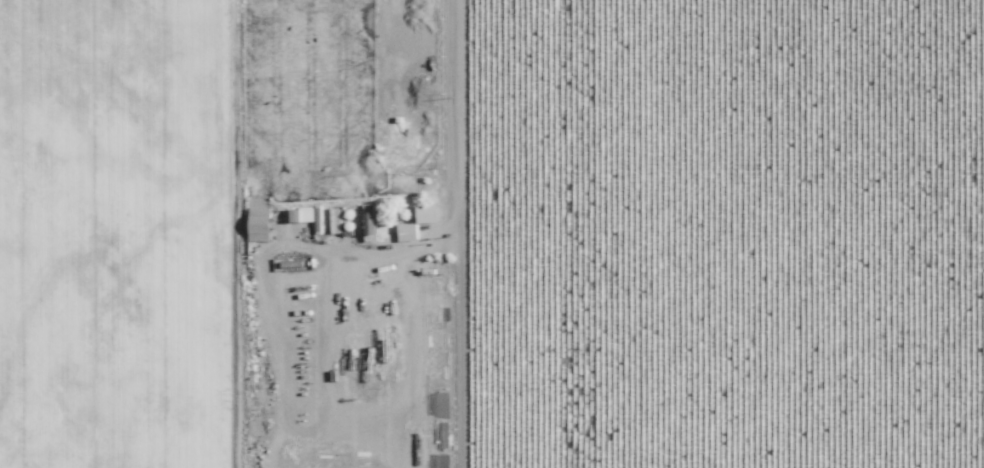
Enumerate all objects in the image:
road: (453, 201)
building: (426, 213)
building: (297, 214)
building: (333, 219)
building: (258, 223)
crop: (122, 233)

